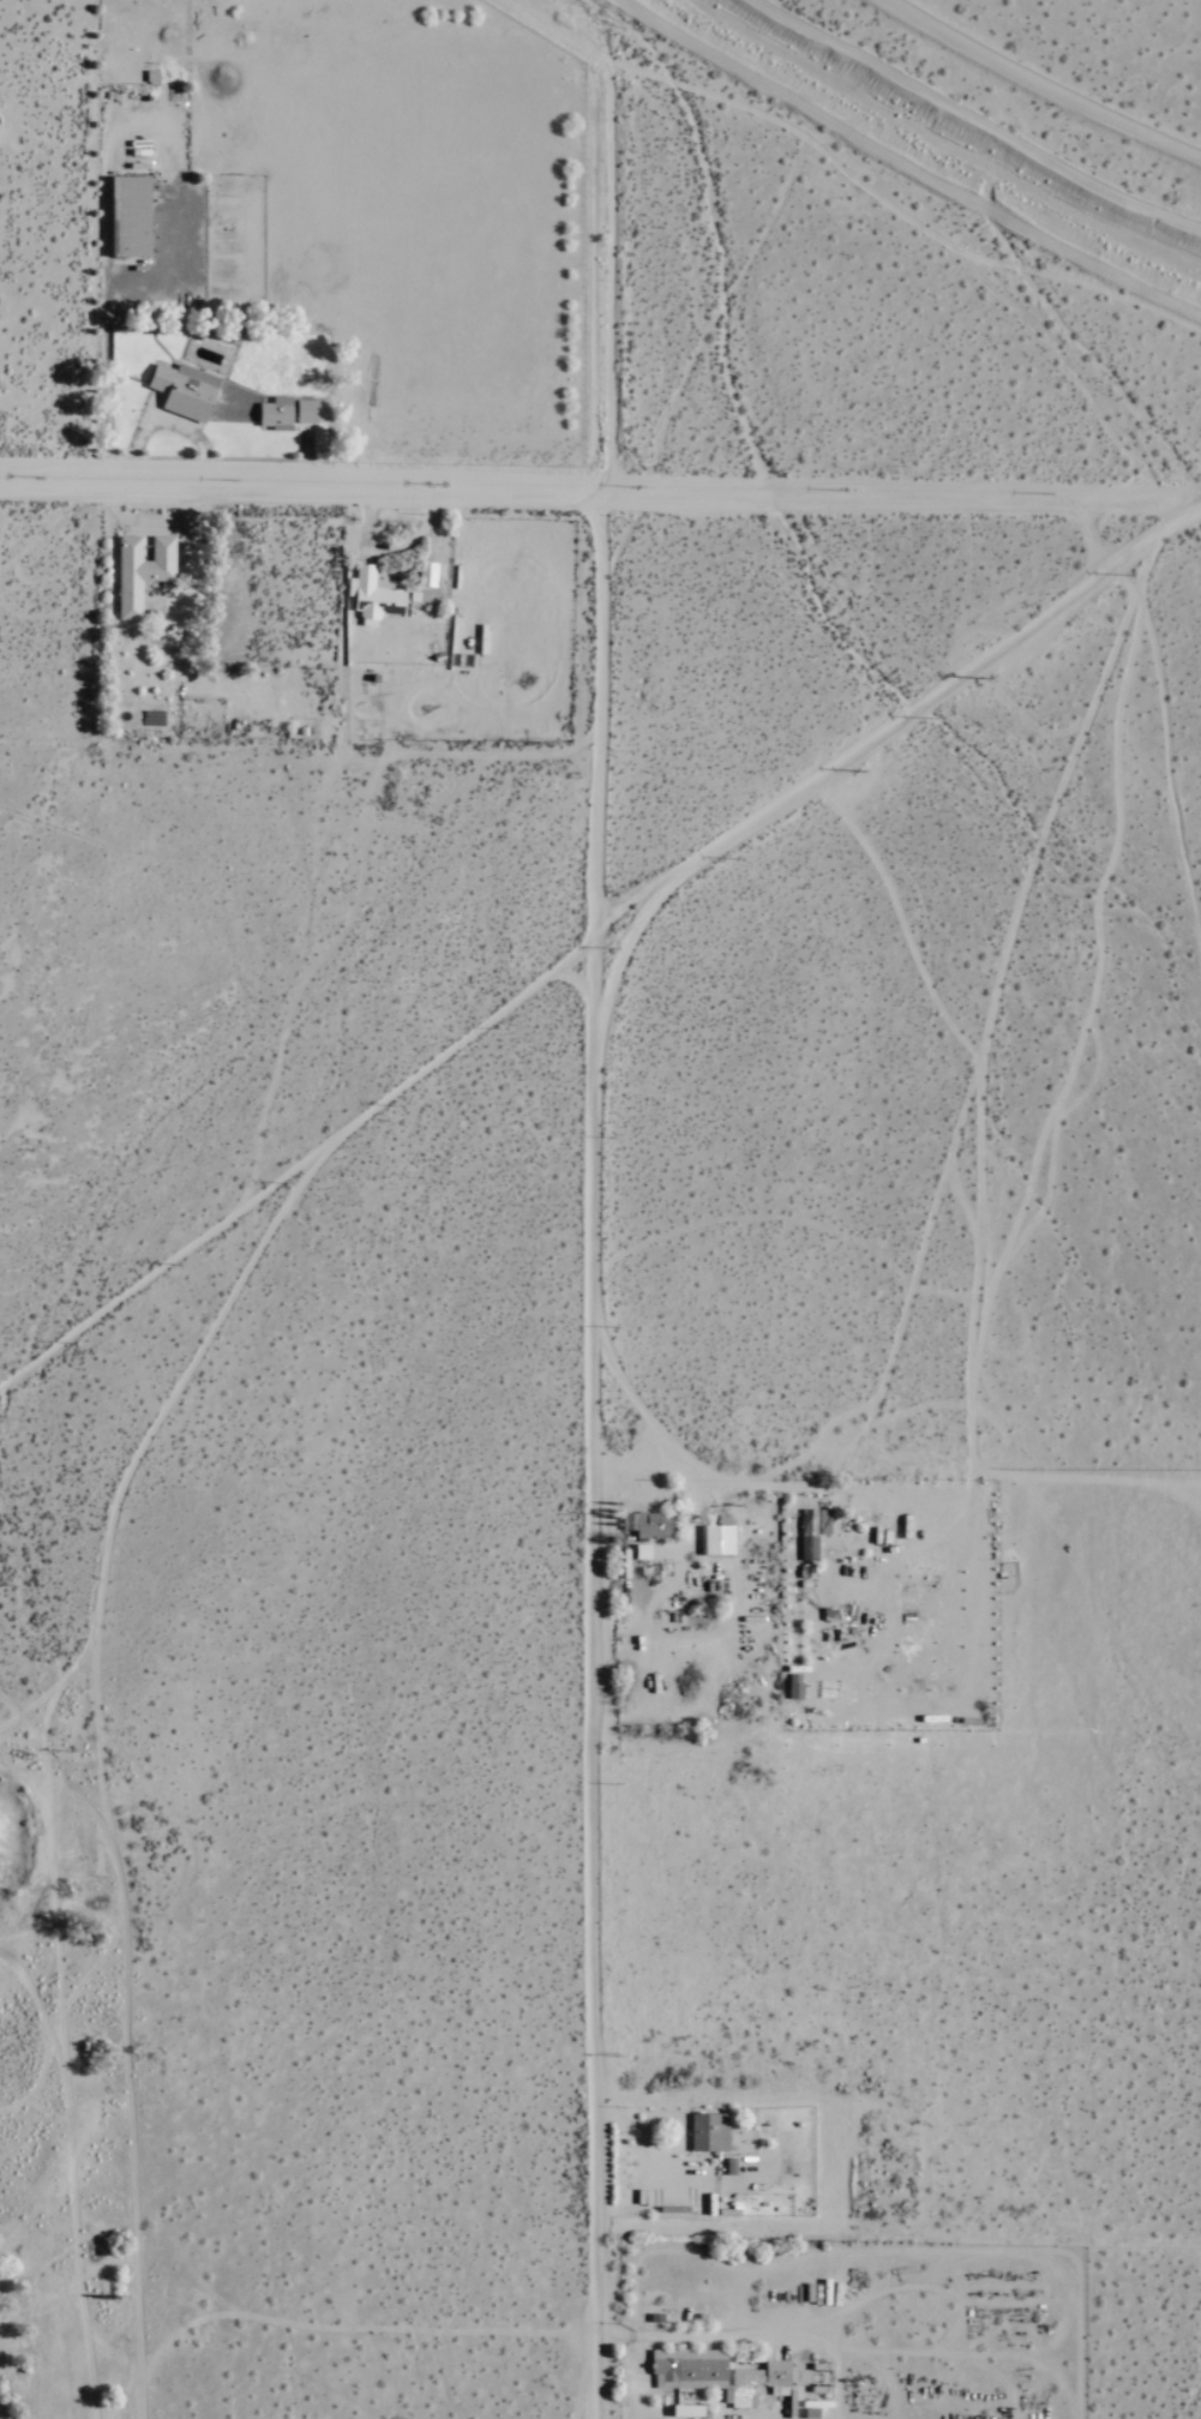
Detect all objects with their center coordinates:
building: (131, 216)
road: (106, 329)
building: (185, 391)
building: (288, 413)
road: (170, 422)
road: (306, 466)
road: (600, 500)
road: (151, 518)
building: (142, 570)
building: (372, 595)
road: (593, 1459)
road: (633, 1460)
road: (731, 1482)
road: (691, 1505)
building: (648, 1524)
building: (719, 1539)
building: (642, 1550)
road: (642, 2159)
road: (713, 2336)
building: (717, 2375)

